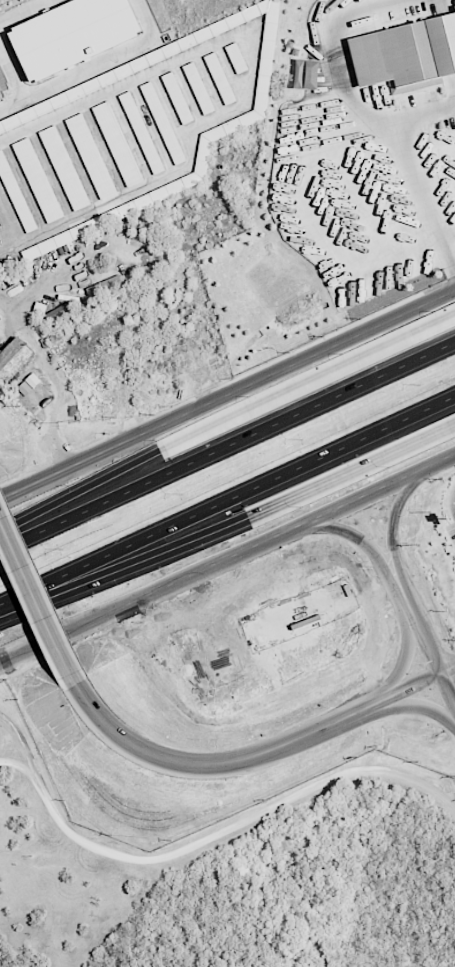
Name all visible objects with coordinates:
road: (25, 11)
building: (72, 34)
road: (336, 43)
building: (406, 55)
road: (93, 66)
building: (306, 74)
building: (219, 78)
building: (2, 86)
building: (198, 88)
building: (177, 98)
road: (425, 113)
building: (162, 123)
building: (141, 132)
building: (117, 144)
building: (91, 157)
building: (64, 168)
building: (37, 180)
road: (425, 191)
building: (97, 288)
building: (13, 359)
road: (56, 379)
road: (227, 398)
road: (227, 425)
road: (227, 446)
road: (227, 499)
road: (230, 527)
road: (396, 527)
road: (364, 542)
road: (227, 557)
road: (35, 599)
road: (426, 637)
road: (406, 661)
road: (449, 675)
road: (449, 690)
road: (420, 706)
road: (245, 758)
road: (26, 771)
road: (199, 846)

